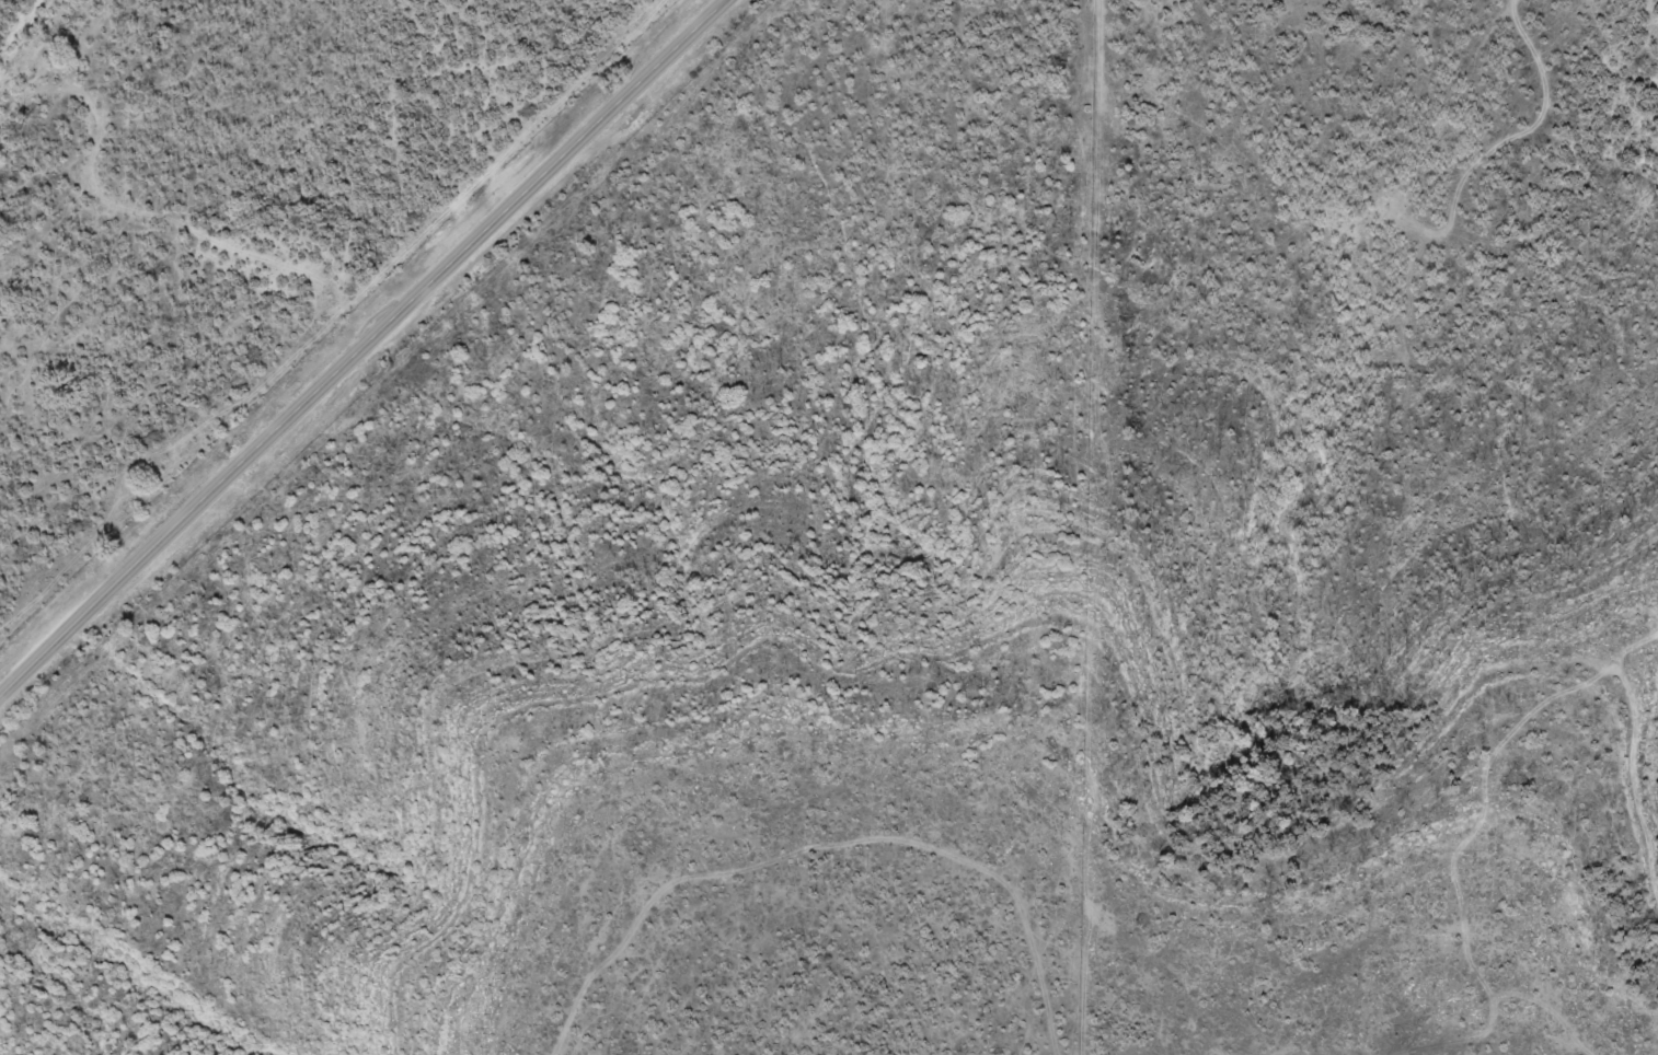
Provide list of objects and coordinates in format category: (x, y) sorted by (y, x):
road: (362, 345)

